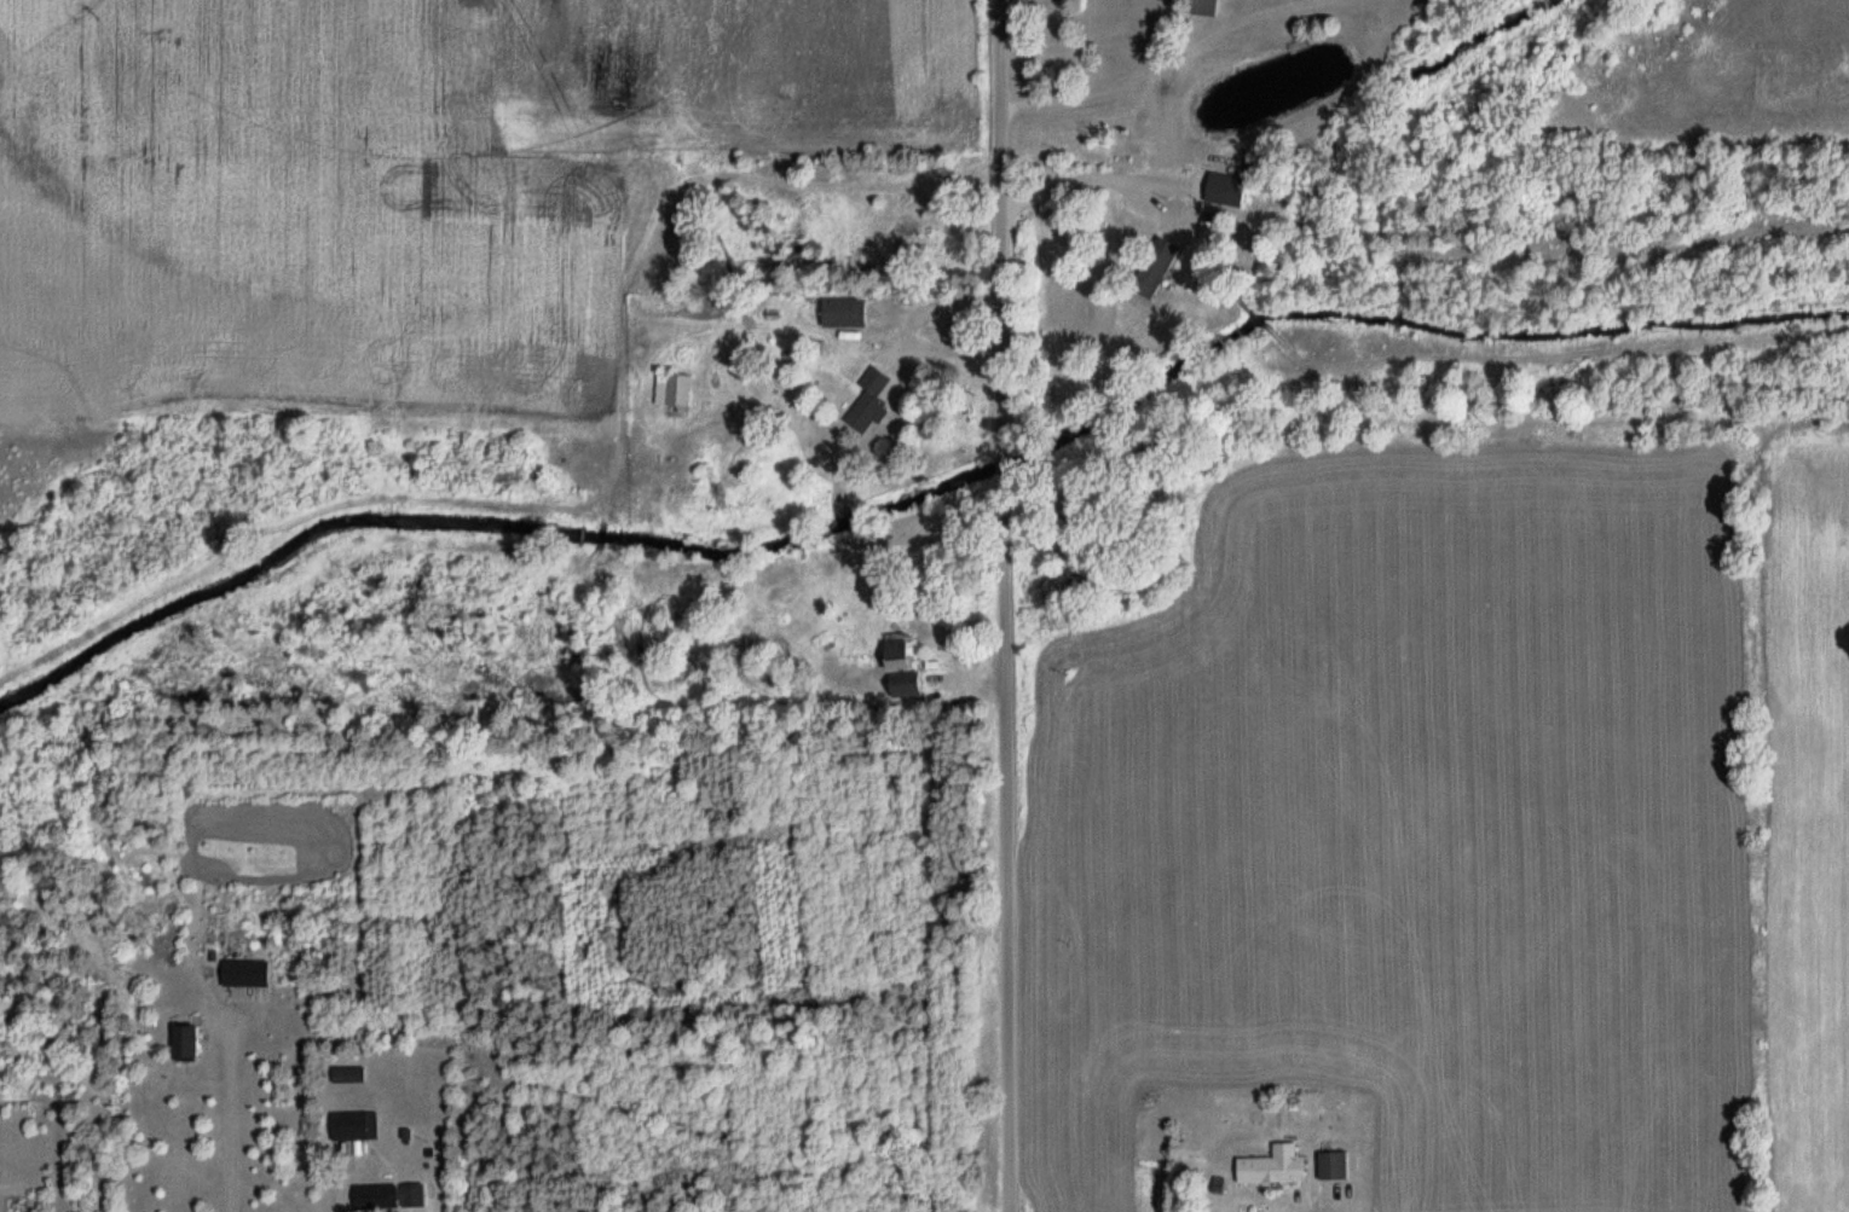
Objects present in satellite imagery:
building: (1201, 8)
building: (1221, 190)
road: (1001, 226)
building: (1156, 268)
building: (847, 313)
building: (674, 392)
building: (871, 404)
road: (1004, 459)
building: (900, 656)
building: (907, 686)
road: (1006, 839)
building: (248, 974)
building: (187, 1044)
building: (349, 1075)
road: (226, 1108)
building: (351, 1127)
building: (1334, 1167)
building: (1272, 1171)
building: (391, 1197)

